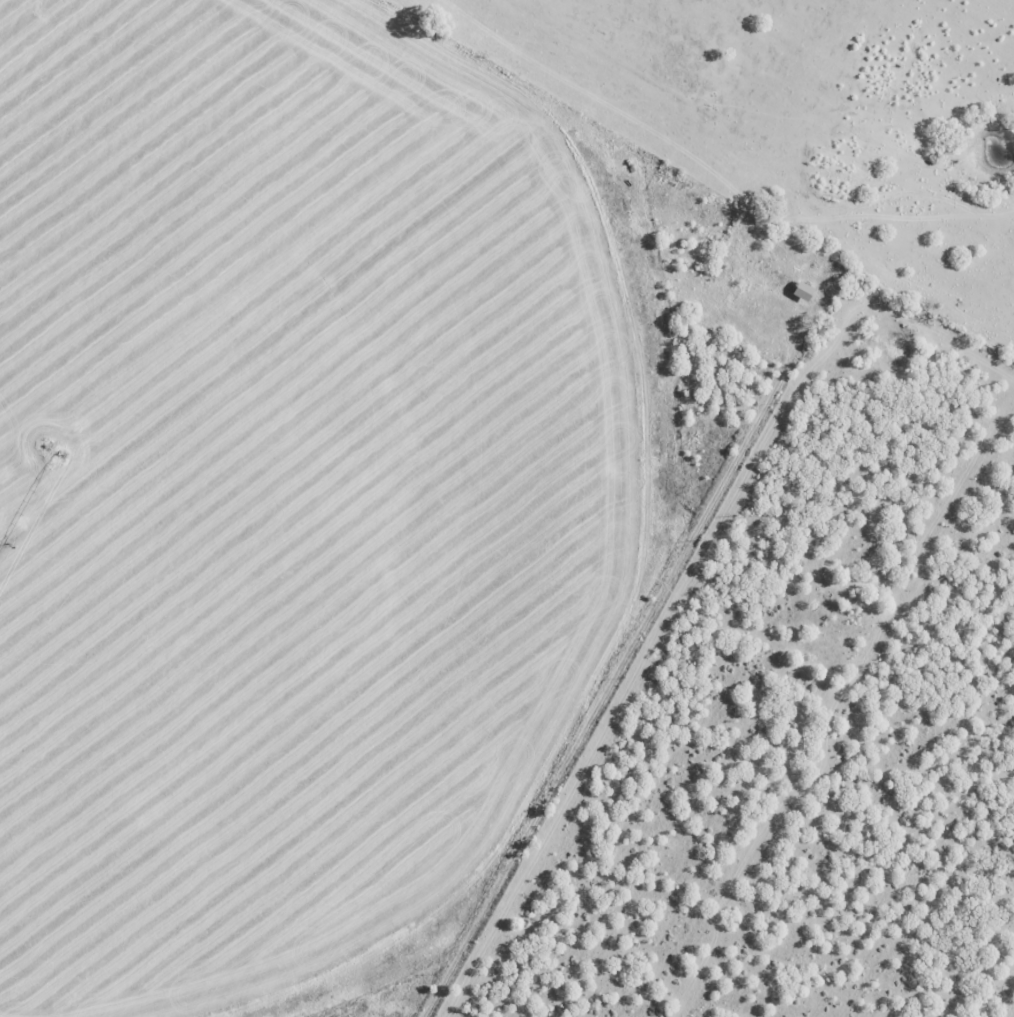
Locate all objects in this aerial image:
building: (805, 290)
road: (617, 673)

